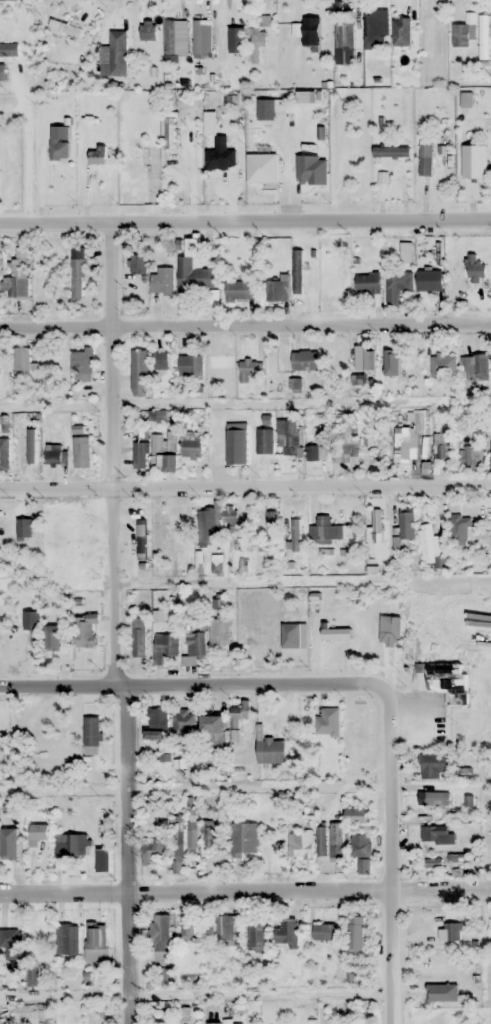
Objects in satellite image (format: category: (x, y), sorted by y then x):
building: (148, 31)
building: (402, 31)
building: (308, 32)
building: (369, 32)
building: (344, 36)
building: (484, 37)
building: (177, 38)
building: (203, 39)
building: (237, 40)
building: (258, 43)
building: (9, 49)
building: (115, 49)
building: (2, 72)
building: (170, 129)
building: (60, 151)
building: (391, 152)
building: (221, 156)
building: (134, 158)
building: (425, 160)
building: (479, 165)
building: (262, 168)
building: (312, 170)
road: (245, 211)
building: (138, 263)
building: (475, 268)
building: (298, 271)
building: (78, 272)
building: (196, 278)
building: (16, 280)
building: (162, 280)
building: (430, 280)
building: (368, 283)
building: (398, 285)
building: (240, 290)
building: (277, 290)
road: (245, 325)
building: (22, 358)
building: (160, 360)
building: (305, 360)
building: (191, 365)
building: (443, 365)
building: (82, 366)
building: (474, 367)
building: (394, 368)
building: (249, 370)
building: (139, 372)
building: (489, 413)
building: (157, 415)
building: (421, 421)
building: (288, 436)
building: (237, 443)
building: (349, 443)
building: (81, 444)
building: (192, 444)
building: (405, 445)
building: (265, 446)
building: (443, 448)
road: (115, 450)
building: (165, 450)
building: (316, 452)
building: (4, 453)
building: (56, 454)
building: (141, 454)
building: (24, 457)
building: (470, 457)
road: (245, 489)
building: (175, 511)
building: (229, 513)
building: (407, 524)
building: (207, 525)
building: (271, 525)
building: (24, 528)
building: (460, 528)
building: (325, 529)
building: (295, 534)
building: (433, 547)
building: (217, 563)
building: (85, 629)
building: (220, 629)
building: (139, 637)
building: (166, 645)
building: (196, 645)
building: (59, 652)
building: (448, 681)
road: (192, 687)
building: (238, 714)
building: (182, 722)
building: (158, 724)
building: (214, 726)
building: (92, 735)
building: (326, 747)
building: (271, 750)
building: (434, 765)
building: (436, 798)
building: (359, 816)
building: (193, 832)
building: (435, 833)
building: (209, 834)
building: (39, 835)
building: (179, 838)
building: (244, 840)
building: (322, 841)
building: (336, 841)
building: (302, 844)
building: (77, 845)
building: (361, 845)
building: (153, 850)
road: (389, 852)
building: (275, 854)
road: (129, 856)
building: (11, 857)
building: (457, 857)
building: (103, 860)
building: (431, 862)
building: (364, 866)
road: (245, 891)
building: (226, 927)
building: (451, 931)
building: (326, 932)
building: (287, 933)
building: (356, 933)
building: (258, 936)
building: (67, 939)
building: (162, 939)
building: (11, 942)
building: (96, 942)
building: (438, 985)
building: (433, 1017)

